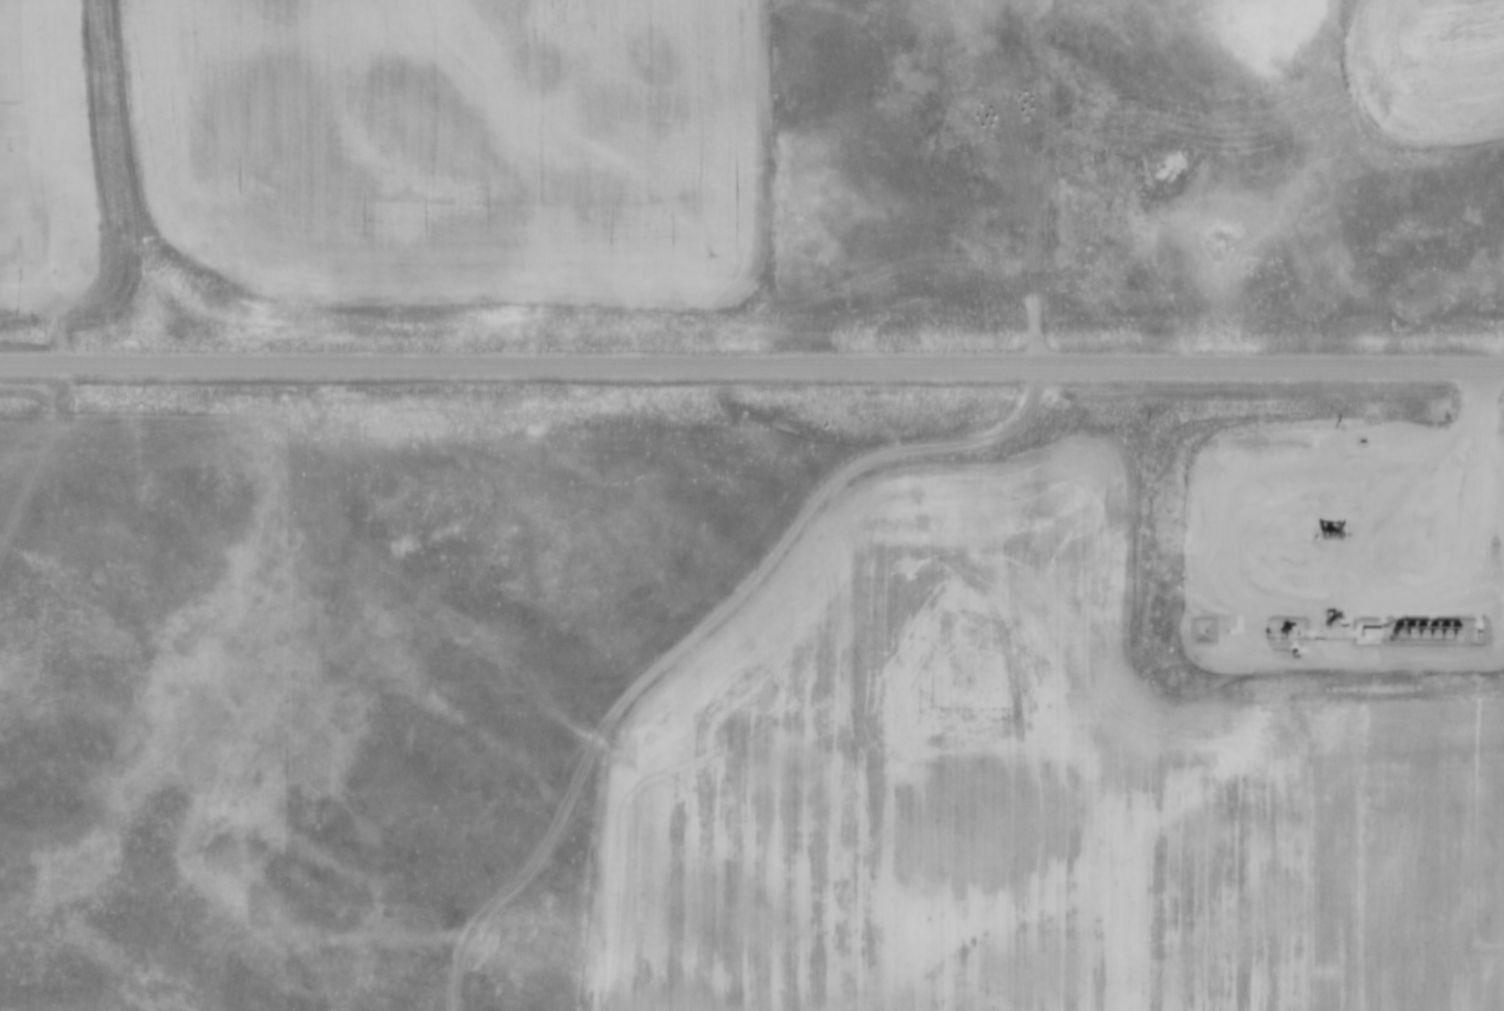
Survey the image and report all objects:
road: (751, 364)
petroleum well: (1329, 525)
building: (1331, 617)
storage tank: (1331, 617)
building: (1289, 622)
road: (695, 624)
building: (1371, 624)
building: (1398, 625)
storage tank: (1398, 625)
building: (1410, 625)
storage tank: (1410, 625)
building: (1433, 625)
storage tank: (1433, 625)
building: (1456, 625)
storage tank: (1456, 625)
building: (1421, 626)
storage tank: (1421, 626)
building: (1444, 626)
storage tank: (1444, 626)

